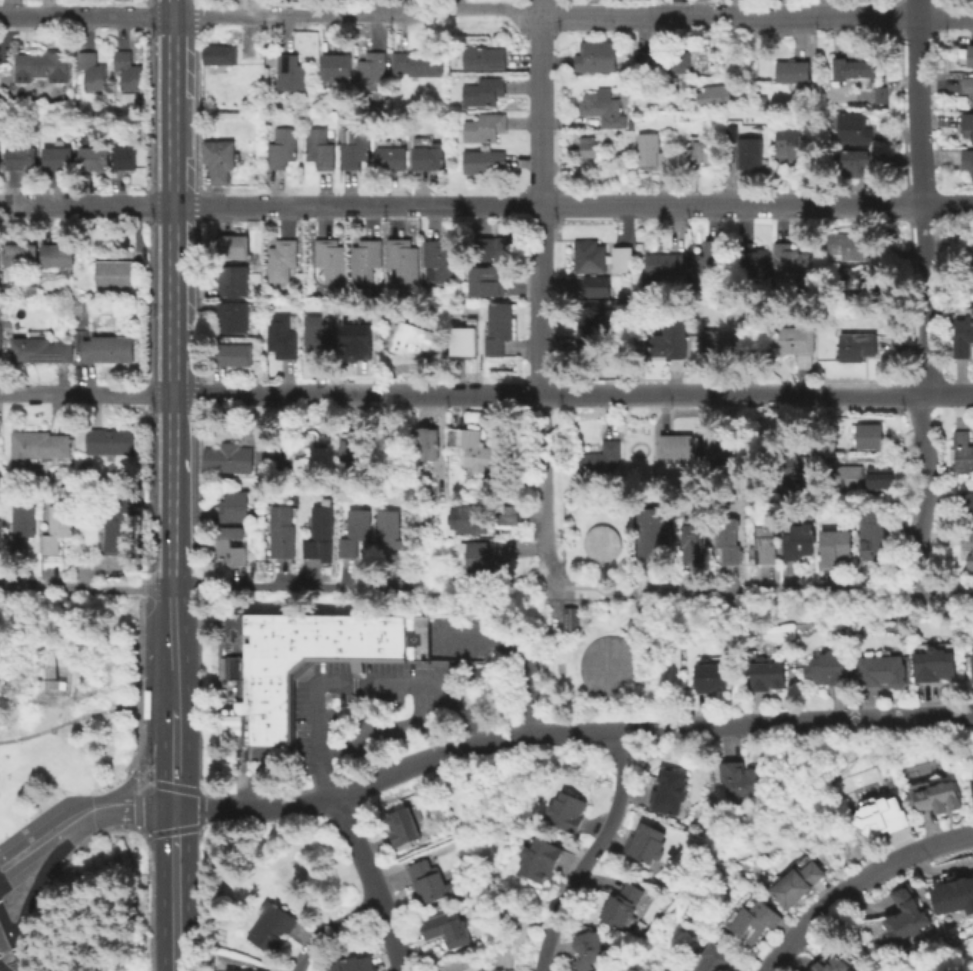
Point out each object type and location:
road: (486, 17)
building: (220, 53)
building: (484, 57)
building: (594, 57)
building: (970, 57)
building: (663, 61)
building: (419, 63)
building: (337, 65)
building: (92, 69)
building: (855, 69)
building: (44, 70)
building: (129, 70)
building: (372, 70)
building: (793, 71)
building: (292, 72)
building: (968, 87)
building: (484, 90)
building: (717, 91)
building: (878, 94)
building: (603, 106)
building: (968, 123)
building: (484, 126)
building: (854, 127)
building: (792, 144)
building: (586, 145)
building: (0, 147)
building: (282, 147)
building: (355, 147)
building: (319, 148)
building: (700, 149)
building: (653, 151)
building: (750, 151)
building: (125, 156)
building: (429, 156)
building: (22, 157)
building: (94, 157)
building: (58, 158)
building: (219, 158)
building: (388, 158)
building: (854, 160)
building: (485, 161)
building: (967, 163)
road: (920, 196)
road: (541, 197)
road: (947, 205)
road: (460, 206)
building: (232, 245)
building: (850, 246)
building: (491, 248)
building: (968, 253)
building: (22, 254)
building: (57, 254)
building: (594, 257)
building: (282, 258)
building: (331, 258)
building: (365, 258)
building: (439, 259)
building: (619, 259)
building: (750, 259)
building: (404, 260)
building: (790, 260)
building: (710, 262)
building: (658, 266)
building: (115, 274)
building: (679, 275)
building: (485, 279)
building: (233, 280)
building: (855, 284)
building: (596, 287)
road: (174, 295)
building: (234, 316)
building: (498, 326)
building: (589, 326)
building: (0, 334)
building: (282, 336)
building: (317, 336)
building: (405, 338)
building: (960, 338)
building: (790, 339)
building: (669, 340)
building: (353, 342)
building: (726, 343)
building: (462, 344)
building: (856, 345)
building: (109, 348)
building: (41, 349)
building: (232, 353)
road: (947, 392)
road: (547, 394)
road: (86, 395)
building: (870, 435)
building: (111, 440)
building: (719, 444)
building: (675, 445)
building: (39, 446)
building: (423, 446)
building: (353, 449)
building: (472, 450)
building: (962, 453)
building: (229, 457)
building: (593, 462)
building: (311, 463)
building: (879, 476)
building: (810, 478)
building: (853, 481)
road: (542, 491)
road: (923, 492)
building: (966, 502)
building: (235, 506)
building: (506, 516)
building: (468, 521)
building: (119, 524)
building: (21, 526)
building: (57, 527)
building: (651, 529)
building: (320, 530)
building: (355, 530)
building: (283, 532)
building: (391, 532)
building: (871, 540)
building: (798, 541)
building: (599, 542)
storage tank: (599, 542)
building: (693, 542)
building: (233, 544)
building: (727, 544)
building: (766, 544)
building: (836, 546)
building: (972, 551)
building: (483, 561)
road: (592, 587)
road: (87, 589)
road: (293, 590)
road: (175, 593)
road: (804, 593)
road: (175, 607)
building: (569, 621)
building: (632, 626)
road: (534, 628)
road: (516, 655)
road: (671, 658)
building: (302, 664)
building: (934, 665)
building: (608, 666)
storage tank: (608, 666)
building: (971, 666)
road: (175, 667)
building: (825, 668)
building: (878, 671)
building: (765, 675)
building: (714, 677)
road: (354, 680)
road: (38, 699)
road: (149, 713)
road: (71, 722)
road: (383, 726)
road: (649, 728)
road: (140, 734)
road: (176, 762)
building: (745, 777)
road: (255, 779)
building: (972, 783)
road: (151, 784)
building: (673, 790)
building: (932, 796)
road: (116, 800)
road: (136, 802)
road: (807, 805)
traffic signals: (177, 810)
building: (571, 810)
road: (257, 811)
road: (112, 816)
building: (878, 817)
building: (405, 825)
road: (29, 835)
building: (649, 842)
road: (73, 847)
road: (591, 852)
road: (177, 856)
building: (544, 858)
road: (28, 867)
building: (802, 880)
building: (432, 881)
road: (372, 883)
road: (856, 883)
building: (953, 895)
road: (32, 897)
building: (626, 905)
road: (110, 908)
road: (151, 915)
building: (901, 917)
building: (757, 919)
building: (274, 927)
road: (332, 928)
building: (449, 928)
road: (8, 931)
road: (177, 935)
road: (860, 945)
road: (24, 948)
building: (592, 948)
road: (9, 953)
building: (719, 958)
road: (22, 961)
building: (357, 963)
building: (826, 965)
road: (177, 969)
road: (0, 970)
building: (248, 970)
building: (484, 970)

